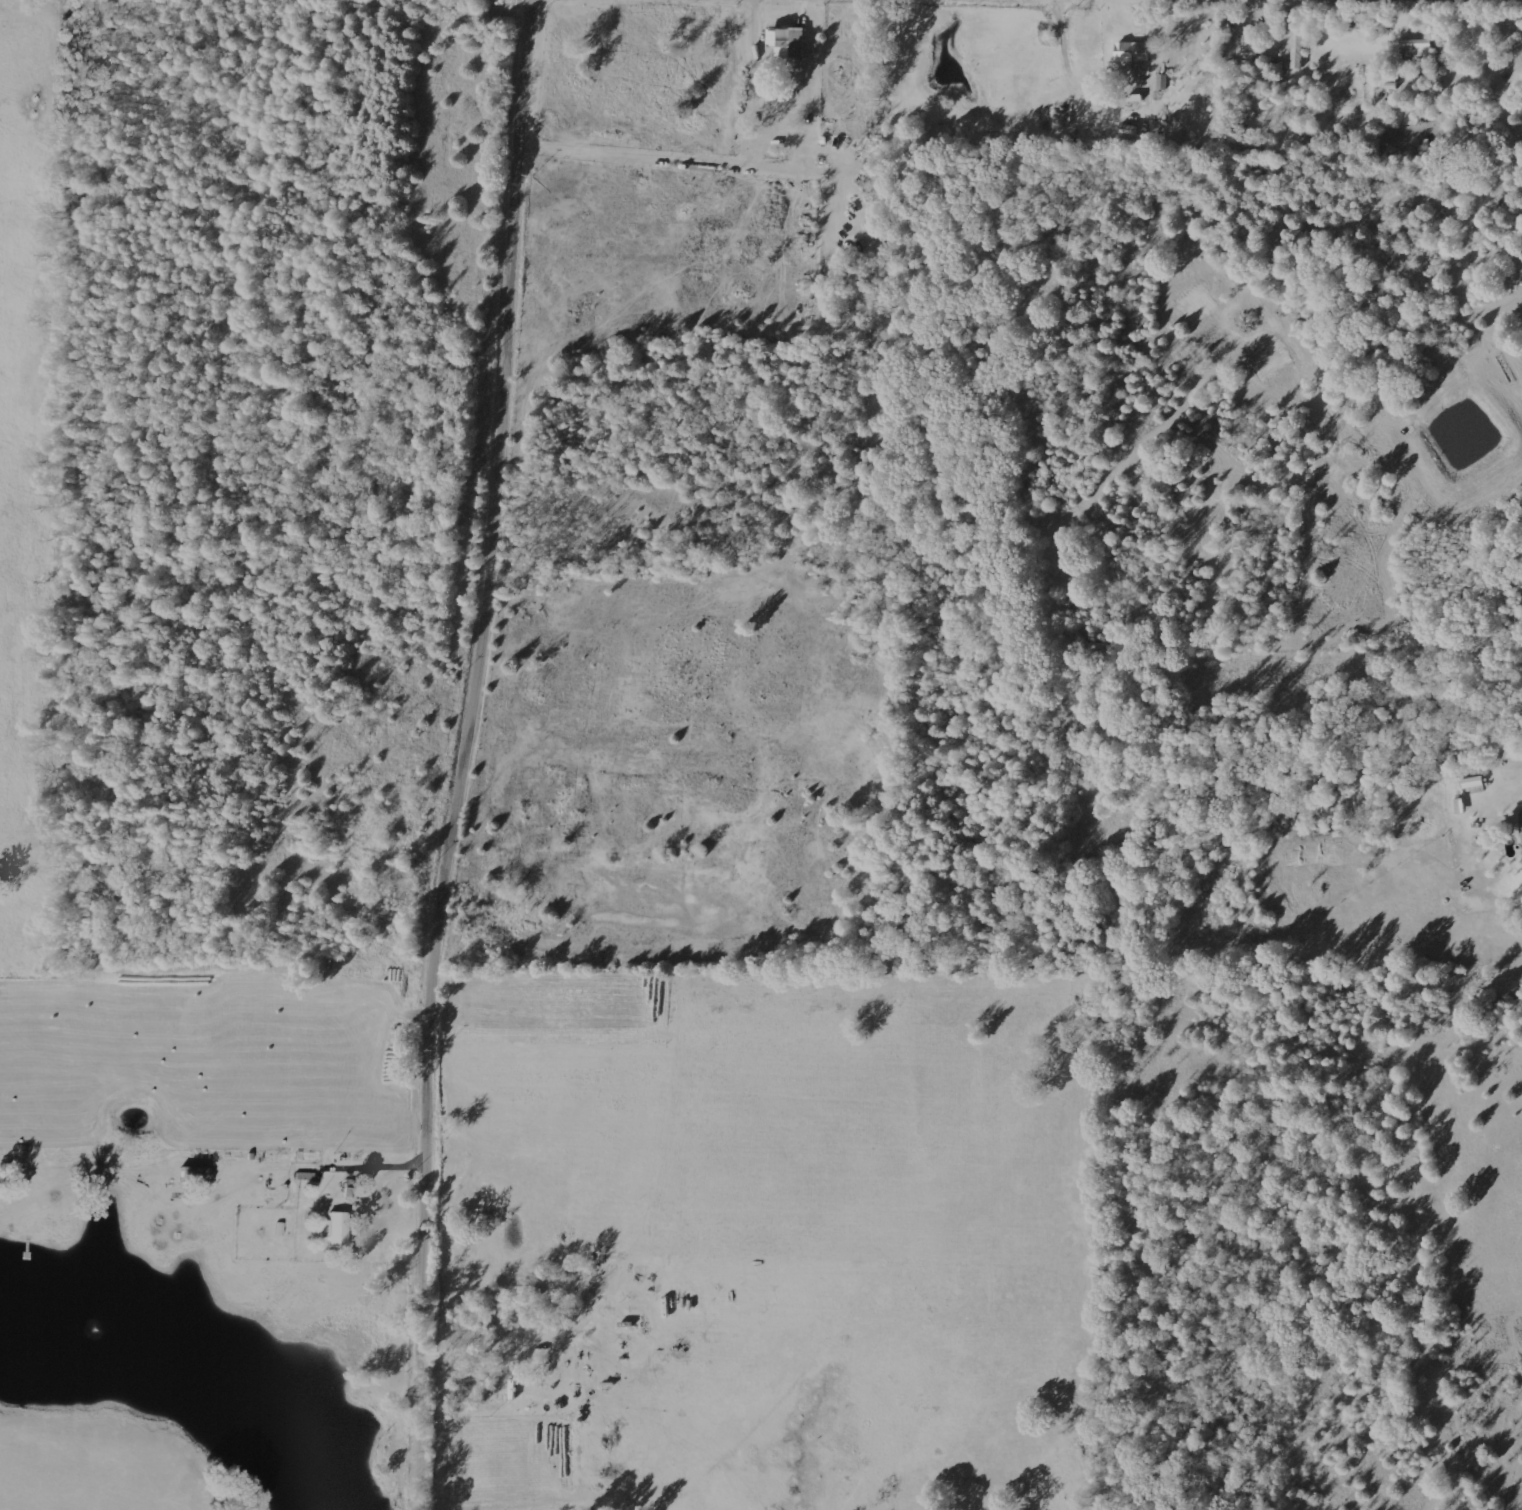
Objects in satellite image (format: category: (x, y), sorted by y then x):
road: (1448, 0)
building: (789, 41)
building: (1249, 44)
building: (1417, 48)
building: (1133, 51)
building: (1164, 82)
road: (462, 754)
building: (1474, 782)
building: (1521, 816)
building: (192, 1175)
building: (335, 1230)

